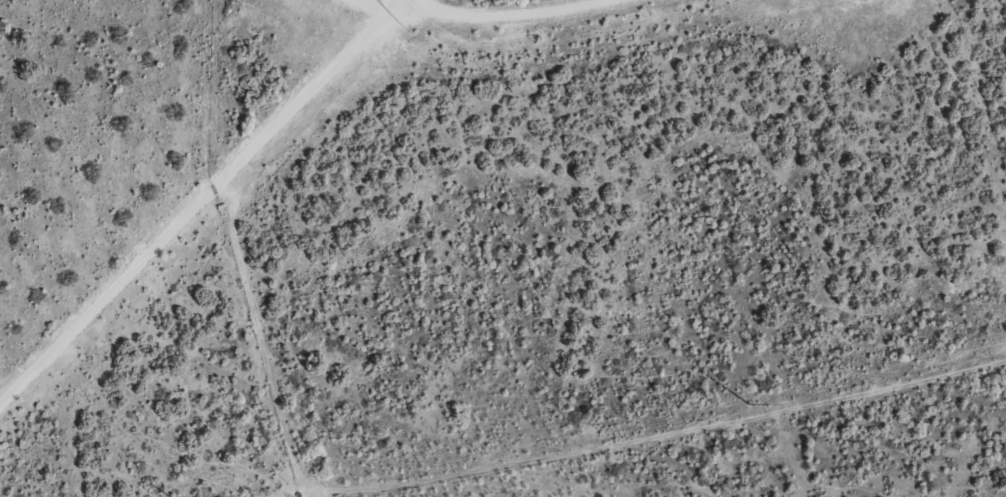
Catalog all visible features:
power tower: (746, 404)

